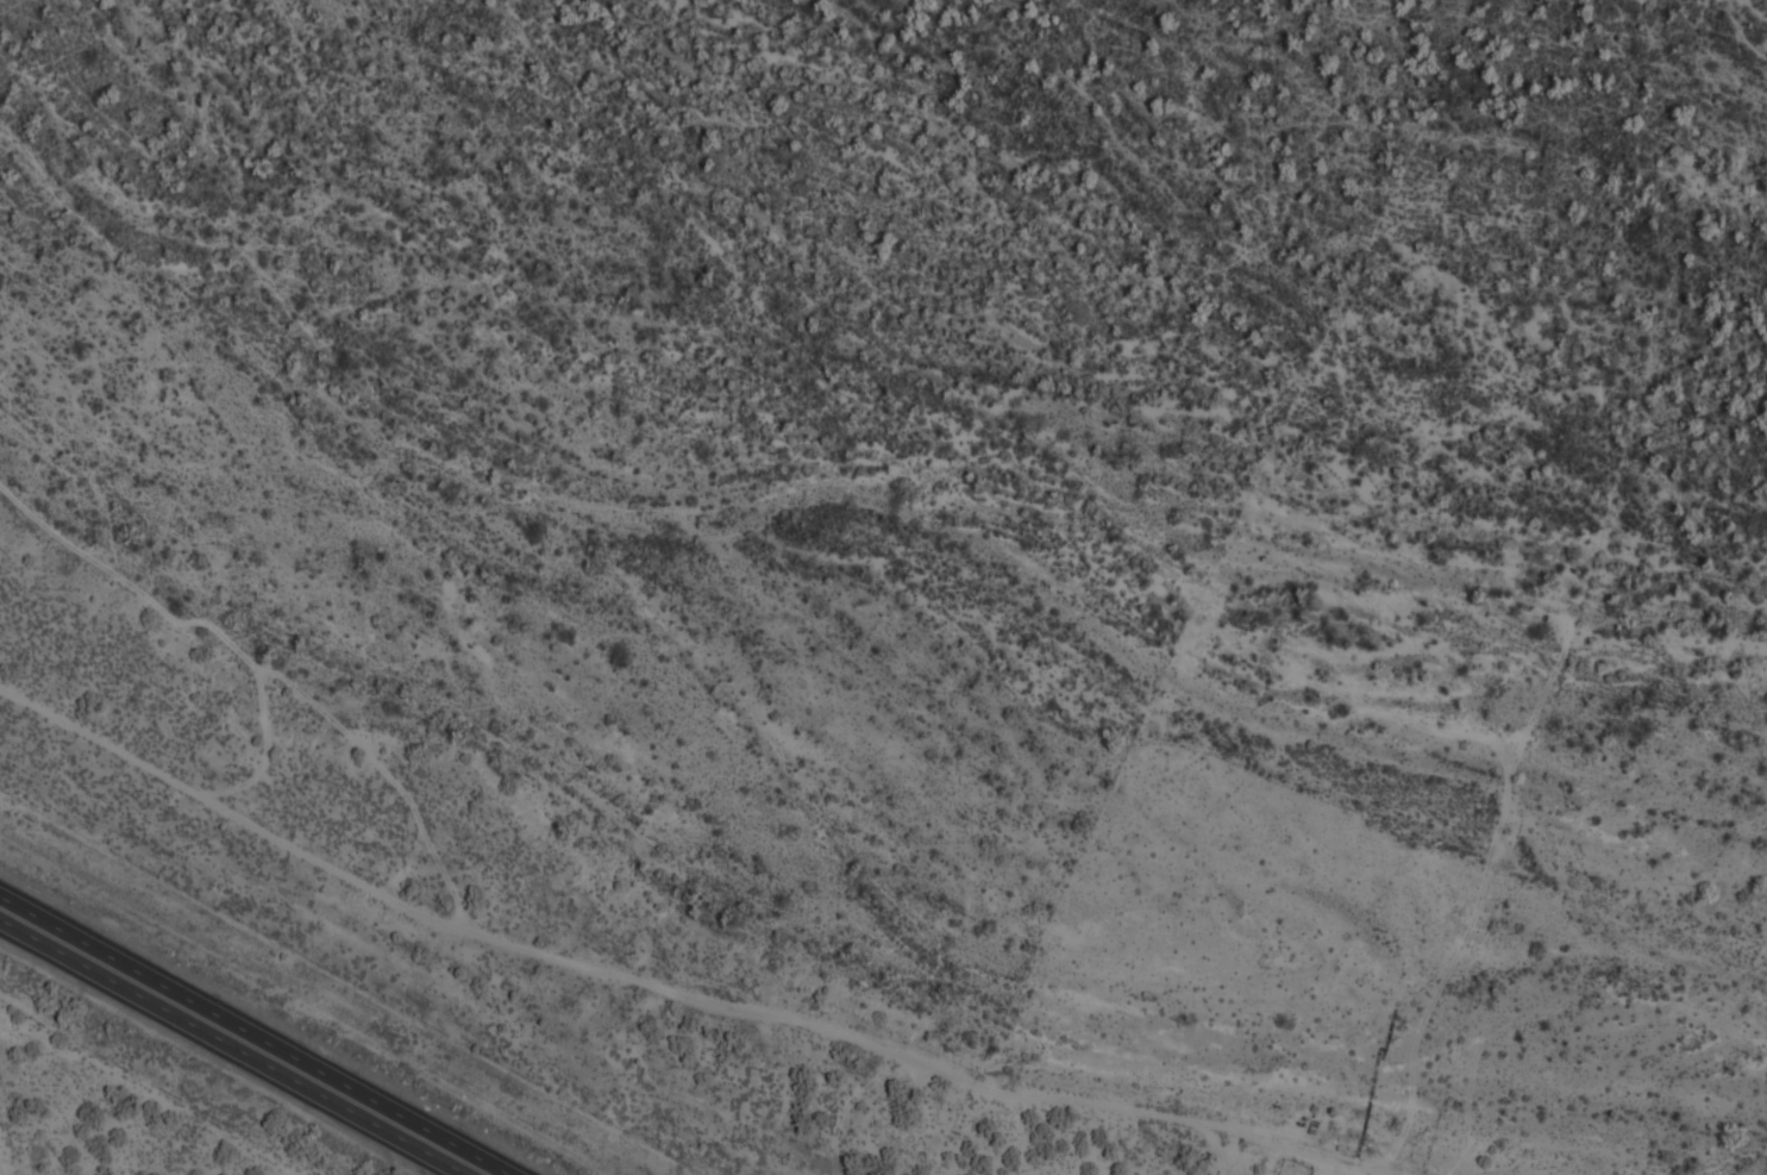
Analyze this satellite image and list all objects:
road: (251, 1037)
road: (228, 1049)
road: (2, 1167)

